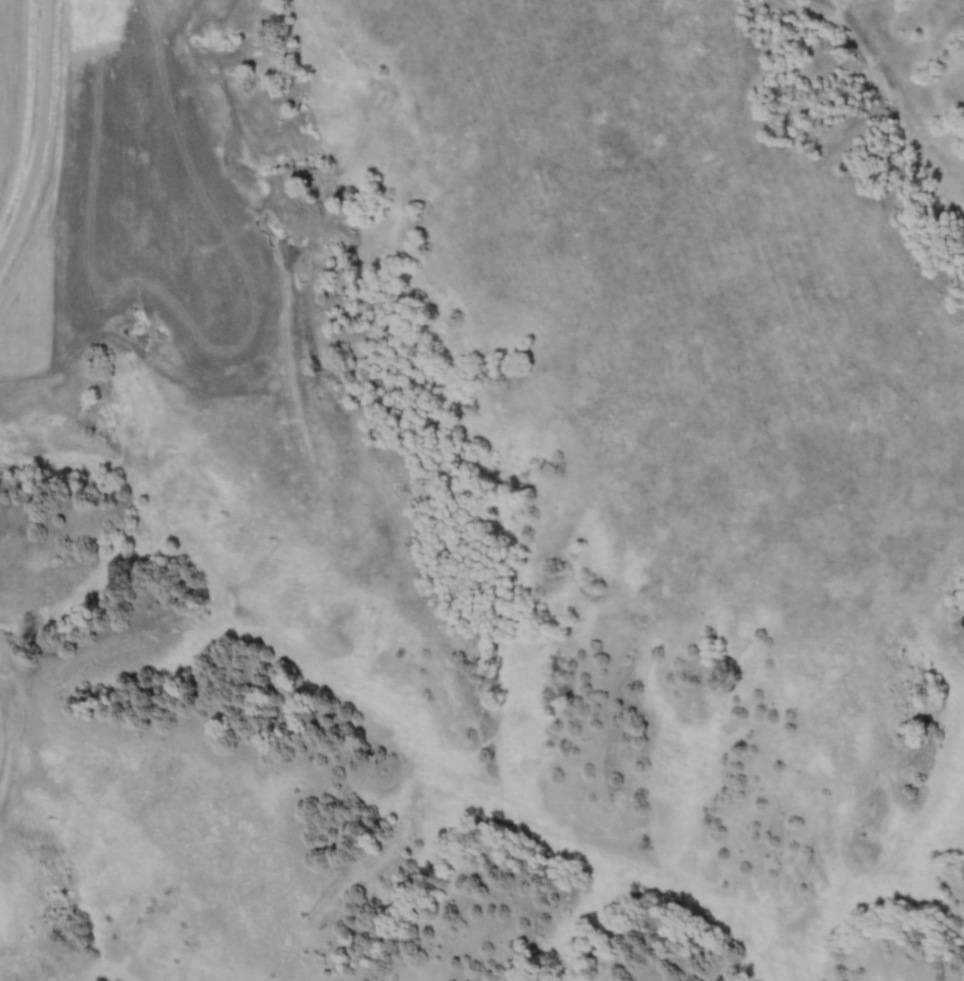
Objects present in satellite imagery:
road: (43, 137)

